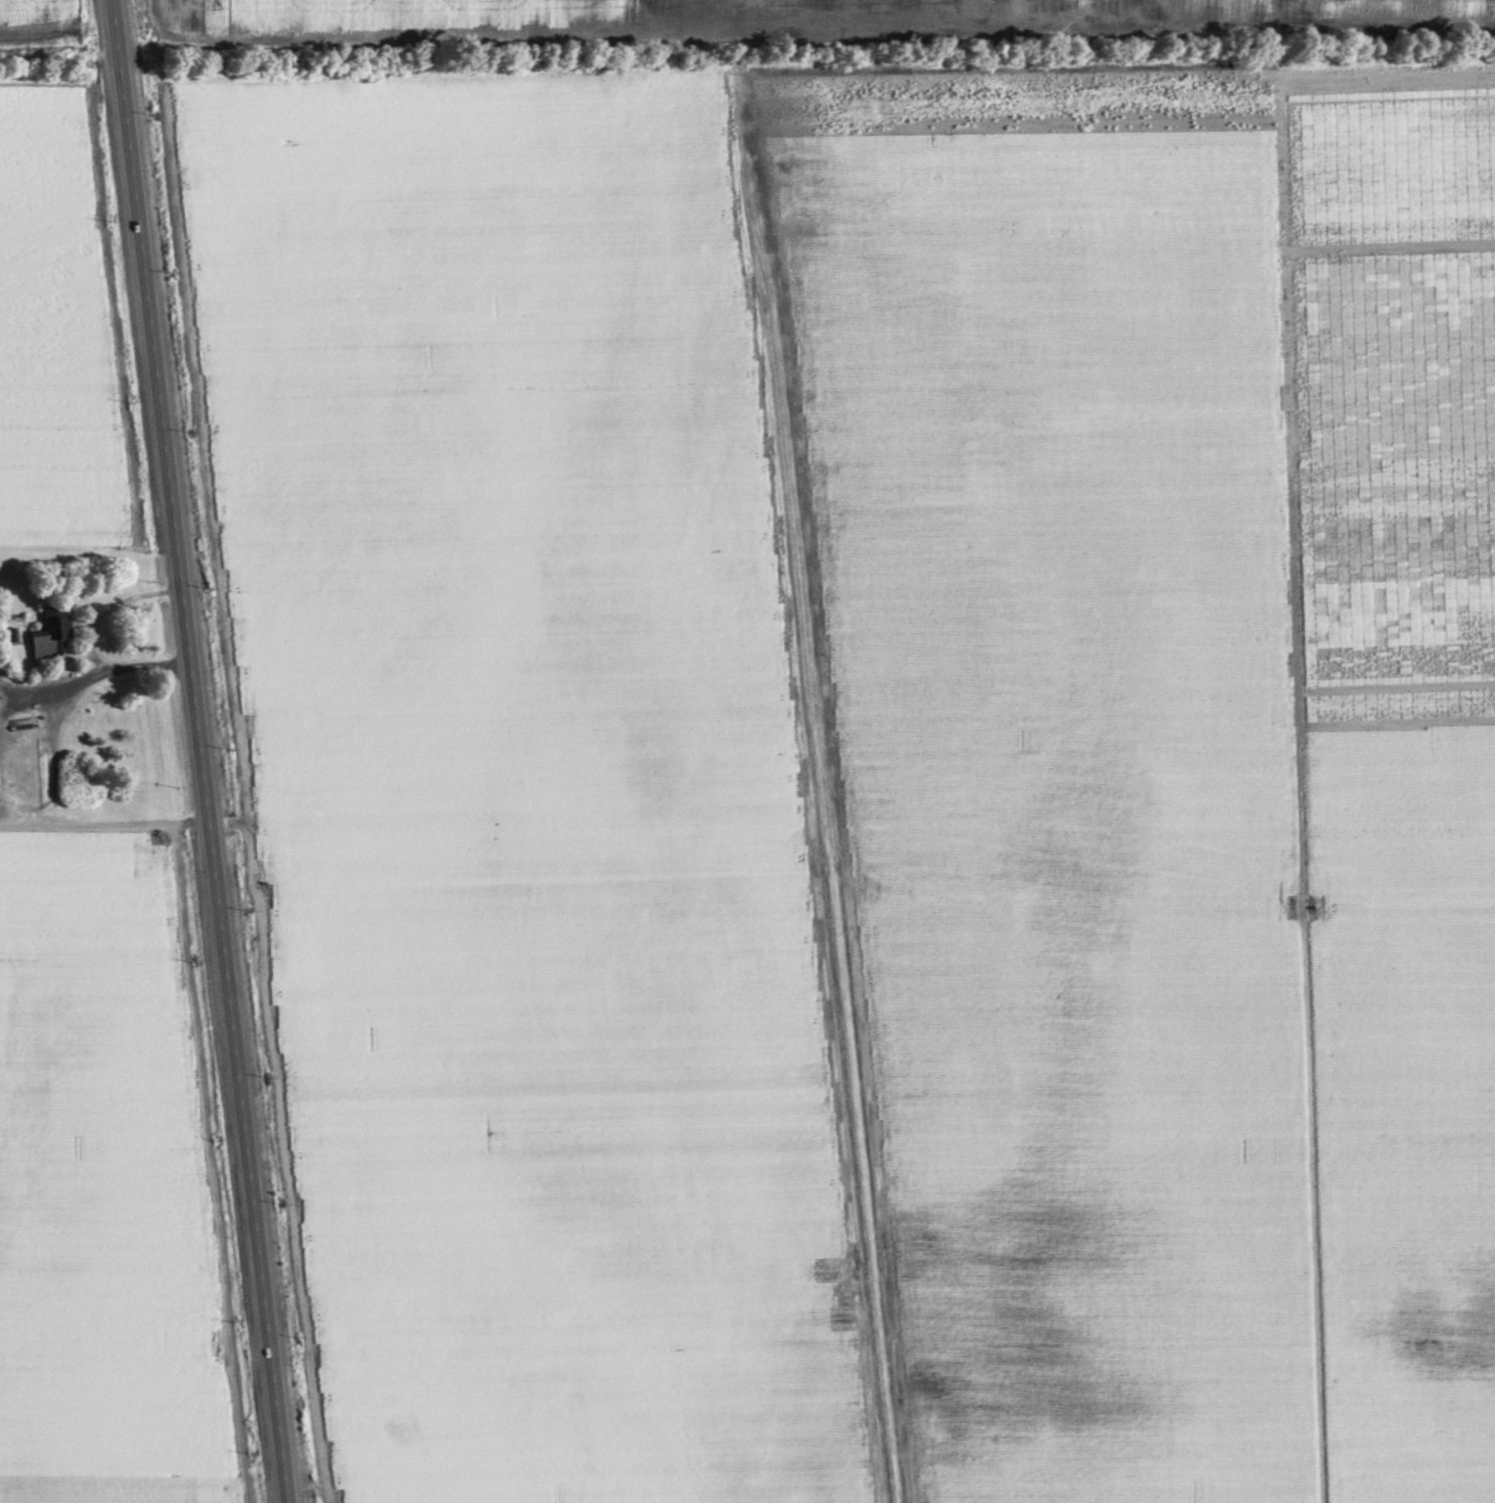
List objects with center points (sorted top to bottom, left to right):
road: (61, 81)
road: (94, 638)
road: (200, 751)
road: (308, 1489)

